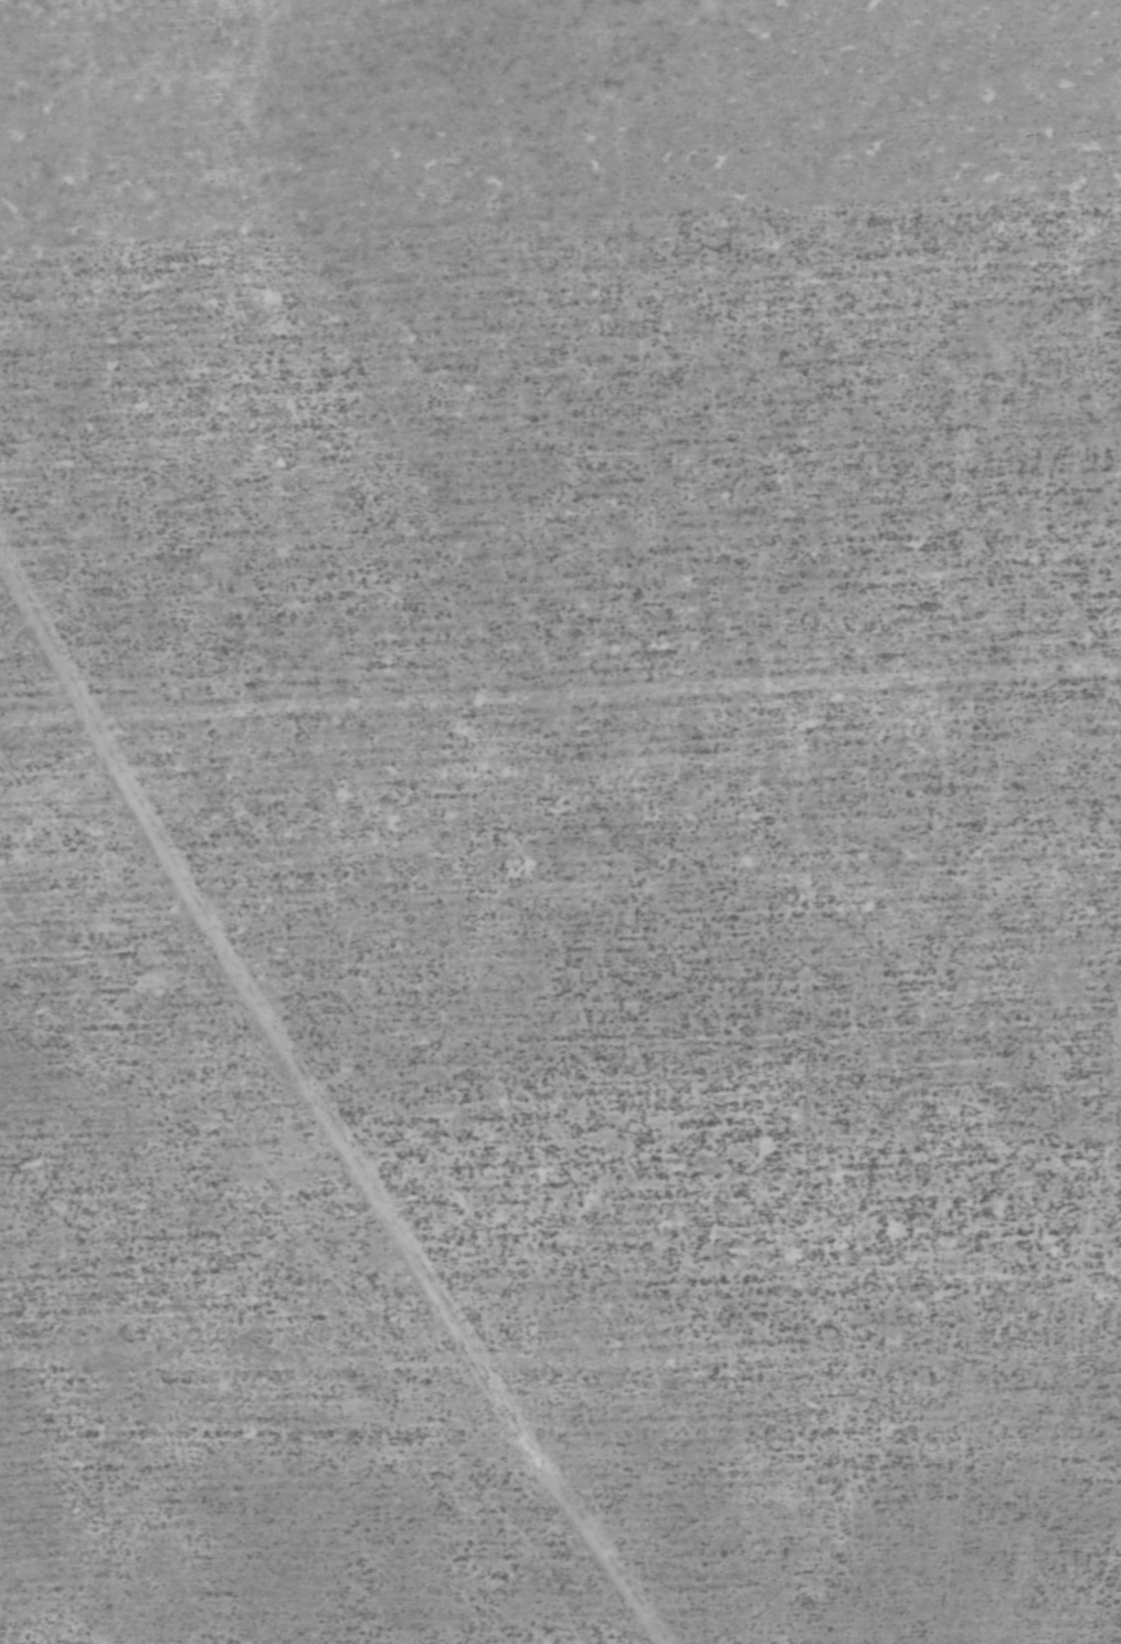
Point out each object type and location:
road: (341, 1088)

